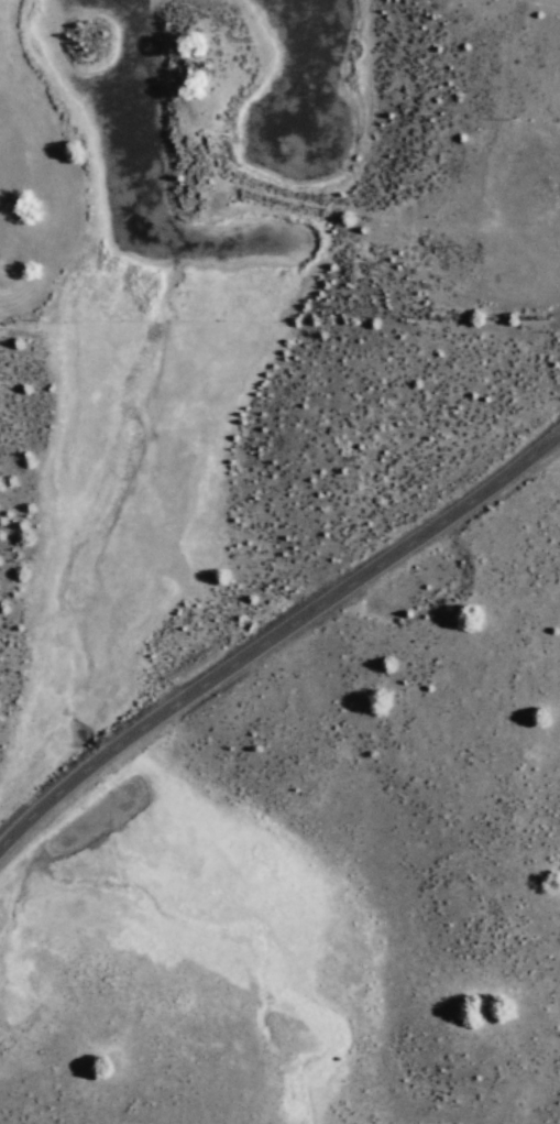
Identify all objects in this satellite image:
road: (275, 644)

